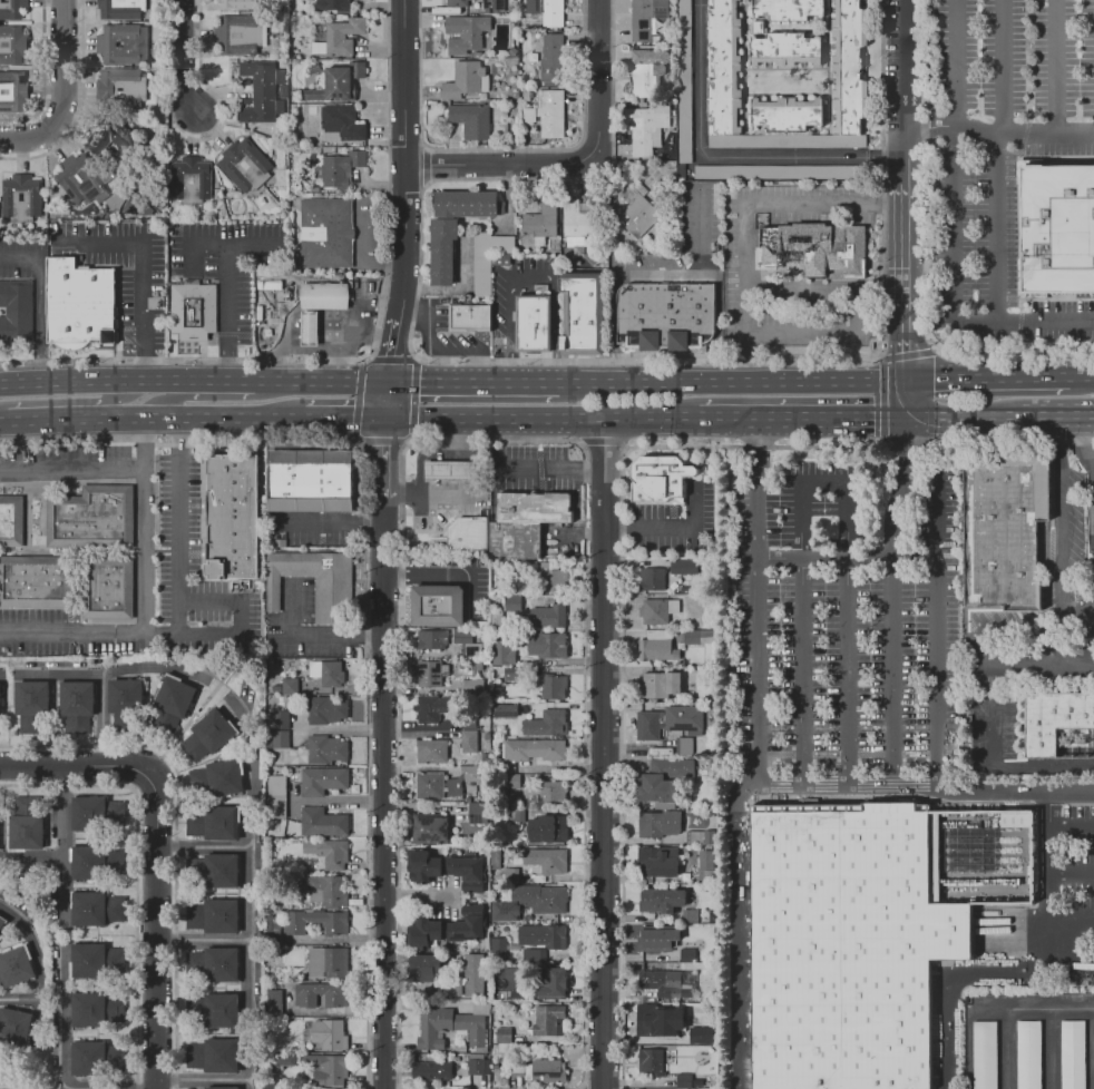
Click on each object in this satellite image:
building: (458, 2)
building: (240, 3)
building: (330, 4)
building: (491, 6)
building: (13, 9)
building: (120, 9)
building: (785, 9)
building: (545, 11)
building: (645, 17)
building: (463, 32)
building: (236, 33)
building: (339, 37)
building: (126, 43)
building: (12, 45)
building: (784, 49)
road: (189, 57)
building: (550, 58)
road: (62, 65)
road: (959, 65)
road: (1056, 69)
building: (645, 70)
road: (41, 76)
building: (342, 79)
building: (463, 79)
building: (683, 80)
building: (722, 80)
building: (123, 89)
building: (260, 89)
building: (12, 91)
road: (80, 106)
building: (546, 112)
building: (787, 112)
building: (470, 119)
building: (339, 122)
building: (644, 126)
road: (1000, 136)
road: (26, 139)
building: (117, 144)
parking lot: (1004, 151)
road: (725, 155)
road: (404, 156)
road: (576, 160)
road: (1002, 160)
building: (244, 164)
building: (339, 168)
building: (774, 171)
building: (97, 178)
building: (188, 179)
road: (907, 189)
road: (506, 190)
building: (11, 197)
building: (637, 208)
road: (745, 212)
building: (539, 222)
building: (575, 222)
building: (1058, 228)
building: (328, 234)
road: (246, 245)
building: (441, 249)
building: (814, 249)
road: (367, 253)
building: (488, 258)
road: (145, 271)
road: (533, 275)
road: (663, 277)
road: (456, 287)
road: (827, 291)
road: (957, 293)
road: (224, 294)
building: (325, 296)
road: (38, 300)
road: (369, 300)
building: (80, 304)
building: (16, 312)
building: (194, 313)
building: (584, 314)
building: (665, 315)
building: (472, 317)
building: (537, 324)
road: (716, 328)
building: (311, 330)
road: (614, 333)
road: (823, 333)
road: (344, 335)
road: (290, 350)
traffic signals: (392, 353)
road: (391, 365)
road: (1078, 375)
road: (90, 380)
traffic signals: (420, 380)
road: (475, 380)
road: (216, 381)
road: (320, 381)
road: (734, 381)
traffic signals: (909, 381)
road: (986, 381)
road: (1078, 381)
road: (168, 398)
road: (909, 399)
road: (113, 401)
road: (964, 416)
road: (1056, 416)
traffic signals: (909, 418)
road: (53, 419)
road: (198, 419)
road: (801, 419)
road: (344, 420)
traffic signals: (349, 420)
road: (496, 420)
road: (622, 420)
road: (666, 420)
road: (3, 421)
traffic signals: (387, 447)
road: (420, 455)
road: (387, 458)
road: (71, 468)
road: (556, 469)
building: (456, 470)
gas station: (456, 470)
road: (1093, 474)
road: (1092, 475)
building: (657, 478)
building: (313, 481)
road: (823, 484)
road: (442, 494)
road: (1059, 514)
building: (234, 517)
road: (338, 519)
building: (91, 520)
building: (11, 522)
building: (529, 523)
road: (144, 526)
road: (179, 526)
road: (665, 527)
building: (1003, 530)
building: (466, 533)
road: (848, 559)
building: (684, 568)
road: (452, 573)
building: (553, 580)
building: (652, 580)
building: (36, 583)
building: (318, 583)
building: (108, 589)
road: (226, 600)
building: (441, 607)
building: (510, 608)
building: (657, 610)
road: (1077, 615)
building: (550, 617)
parking lot: (846, 618)
road: (938, 629)
road: (1022, 631)
road: (119, 634)
road: (315, 636)
building: (699, 637)
building: (434, 641)
building: (547, 645)
building: (654, 646)
road: (979, 648)
building: (472, 650)
building: (502, 654)
road: (1037, 665)
road: (758, 671)
building: (429, 673)
building: (331, 674)
road: (94, 675)
building: (515, 675)
building: (658, 683)
building: (287, 686)
building: (472, 686)
building: (554, 686)
building: (496, 689)
building: (0, 698)
road: (892, 700)
building: (31, 704)
building: (125, 704)
building: (78, 705)
building: (170, 707)
building: (434, 707)
building: (325, 709)
building: (505, 710)
building: (683, 717)
building: (281, 718)
building: (553, 722)
building: (648, 725)
building: (1059, 725)
building: (468, 735)
building: (215, 736)
building: (281, 739)
building: (684, 746)
building: (324, 748)
building: (533, 748)
building: (430, 753)
road: (604, 754)
building: (676, 766)
road: (78, 767)
road: (1010, 768)
building: (471, 774)
building: (323, 781)
building: (223, 782)
building: (276, 782)
building: (510, 784)
building: (429, 785)
building: (455, 787)
building: (653, 787)
road: (385, 793)
building: (553, 794)
building: (276, 808)
building: (92, 811)
building: (478, 813)
building: (517, 815)
building: (1015, 818)
building: (321, 822)
building: (217, 823)
building: (658, 823)
building: (28, 825)
building: (428, 827)
building: (547, 828)
road: (1071, 828)
building: (702, 837)
building: (328, 853)
building: (546, 860)
building: (96, 862)
building: (657, 862)
building: (705, 862)
building: (422, 865)
building: (218, 866)
building: (467, 872)
road: (1071, 874)
parking lot: (1077, 881)
building: (329, 889)
building: (661, 900)
building: (530, 902)
road: (1047, 902)
building: (95, 907)
building: (215, 914)
building: (690, 916)
building: (1, 920)
road: (251, 921)
road: (1071, 921)
building: (272, 925)
building: (467, 926)
building: (2, 928)
road: (155, 928)
building: (336, 929)
road: (738, 931)
building: (423, 932)
building: (544, 935)
road: (64, 938)
road: (203, 939)
building: (648, 939)
building: (496, 948)
building: (850, 949)
building: (687, 954)
building: (533, 955)
building: (92, 958)
building: (330, 960)
road: (33, 962)
building: (214, 965)
building: (18, 968)
building: (430, 968)
building: (472, 974)
road: (944, 980)
building: (660, 981)
building: (453, 982)
building: (551, 982)
building: (345, 999)
building: (273, 1000)
building: (96, 1009)
building: (214, 1009)
road: (992, 1010)
building: (547, 1019)
building: (653, 1020)
building: (432, 1027)
building: (11, 1029)
building: (472, 1029)
building: (330, 1034)
building: (701, 1034)
building: (504, 1036)
road: (1005, 1049)
road: (1049, 1049)
road: (1093, 1049)
building: (1027, 1054)
building: (1072, 1054)
building: (215, 1056)
building: (985, 1056)
building: (90, 1058)
building: (284, 1060)
building: (649, 1061)
building: (478, 1067)
building: (547, 1068)
building: (330, 1069)
building: (430, 1069)
road: (193, 1079)
building: (683, 1080)
building: (225, 1087)

